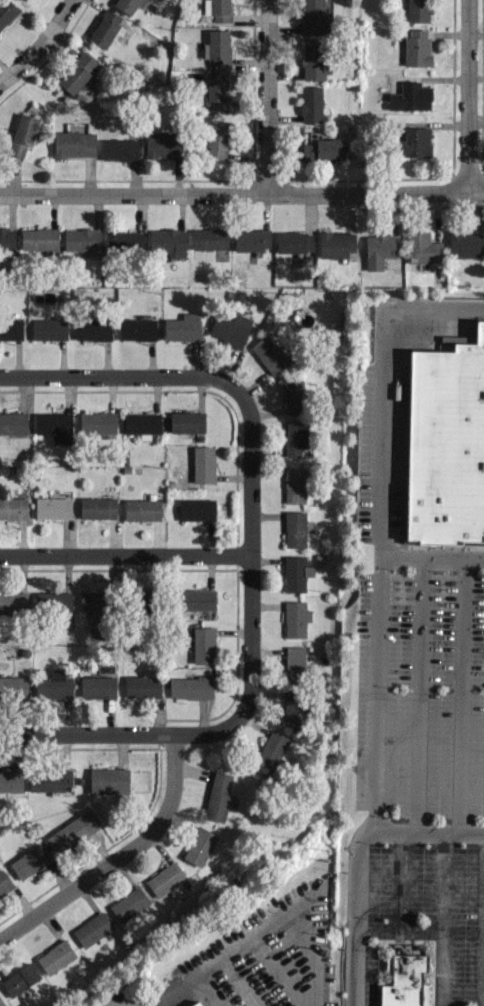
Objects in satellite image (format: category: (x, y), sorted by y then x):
building: (24, 0)
building: (125, 5)
building: (217, 9)
building: (418, 10)
building: (6, 11)
building: (313, 17)
building: (105, 28)
road: (39, 44)
building: (417, 46)
building: (217, 47)
building: (313, 61)
building: (78, 73)
building: (217, 90)
road: (465, 94)
building: (410, 96)
road: (264, 97)
building: (311, 103)
building: (23, 133)
building: (217, 138)
building: (414, 142)
building: (74, 144)
building: (163, 144)
building: (119, 149)
building: (324, 149)
road: (242, 194)
building: (7, 239)
building: (40, 240)
building: (252, 240)
building: (83, 241)
building: (168, 241)
building: (211, 241)
building: (124, 242)
building: (294, 242)
building: (336, 244)
building: (466, 244)
building: (422, 247)
building: (379, 249)
building: (183, 327)
building: (92, 328)
building: (11, 329)
building: (49, 329)
building: (137, 329)
building: (230, 329)
building: (268, 353)
road: (120, 374)
road: (384, 384)
building: (293, 393)
building: (13, 422)
building: (97, 422)
building: (187, 422)
building: (142, 424)
building: (55, 426)
building: (295, 437)
building: (445, 443)
building: (203, 464)
building: (295, 484)
building: (52, 507)
building: (97, 507)
building: (13, 508)
building: (142, 509)
building: (197, 509)
building: (295, 528)
road: (248, 549)
road: (124, 554)
building: (296, 572)
building: (195, 599)
building: (13, 601)
building: (93, 601)
building: (296, 618)
road: (377, 641)
building: (203, 644)
building: (295, 664)
building: (54, 684)
building: (97, 686)
building: (142, 686)
building: (13, 687)
building: (190, 687)
road: (419, 694)
road: (460, 694)
building: (292, 706)
road: (125, 734)
building: (271, 749)
building: (49, 779)
building: (108, 780)
building: (11, 781)
building: (218, 796)
building: (72, 831)
building: (199, 846)
road: (354, 855)
road: (118, 856)
building: (30, 862)
road: (397, 879)
road: (442, 879)
building: (166, 880)
building: (4, 882)
building: (128, 904)
road: (290, 909)
road: (482, 916)
building: (91, 929)
road: (435, 931)
building: (56, 956)
road: (278, 971)
building: (404, 977)
building: (21, 979)
road: (240, 982)
road: (189, 983)
building: (2, 1002)
building: (196, 1004)

